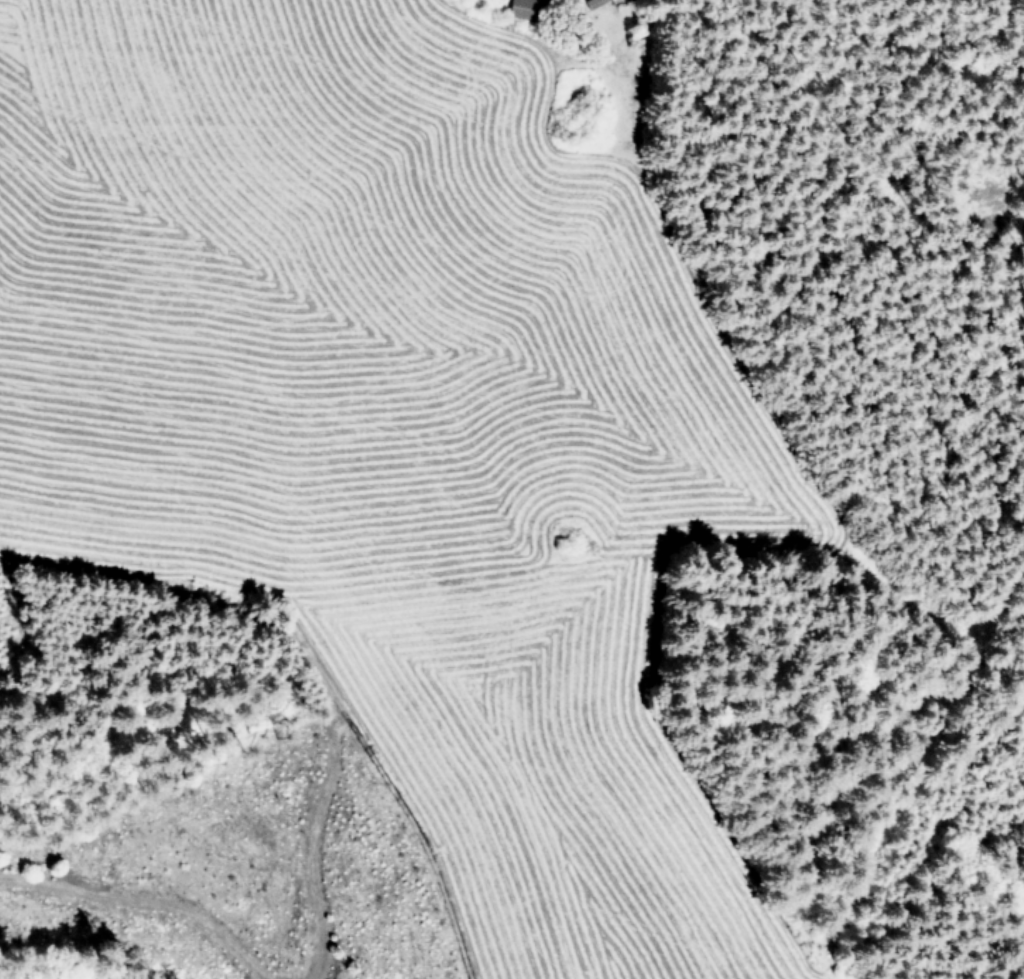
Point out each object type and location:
building: (602, 0)
building: (520, 8)
crop: (401, 423)

